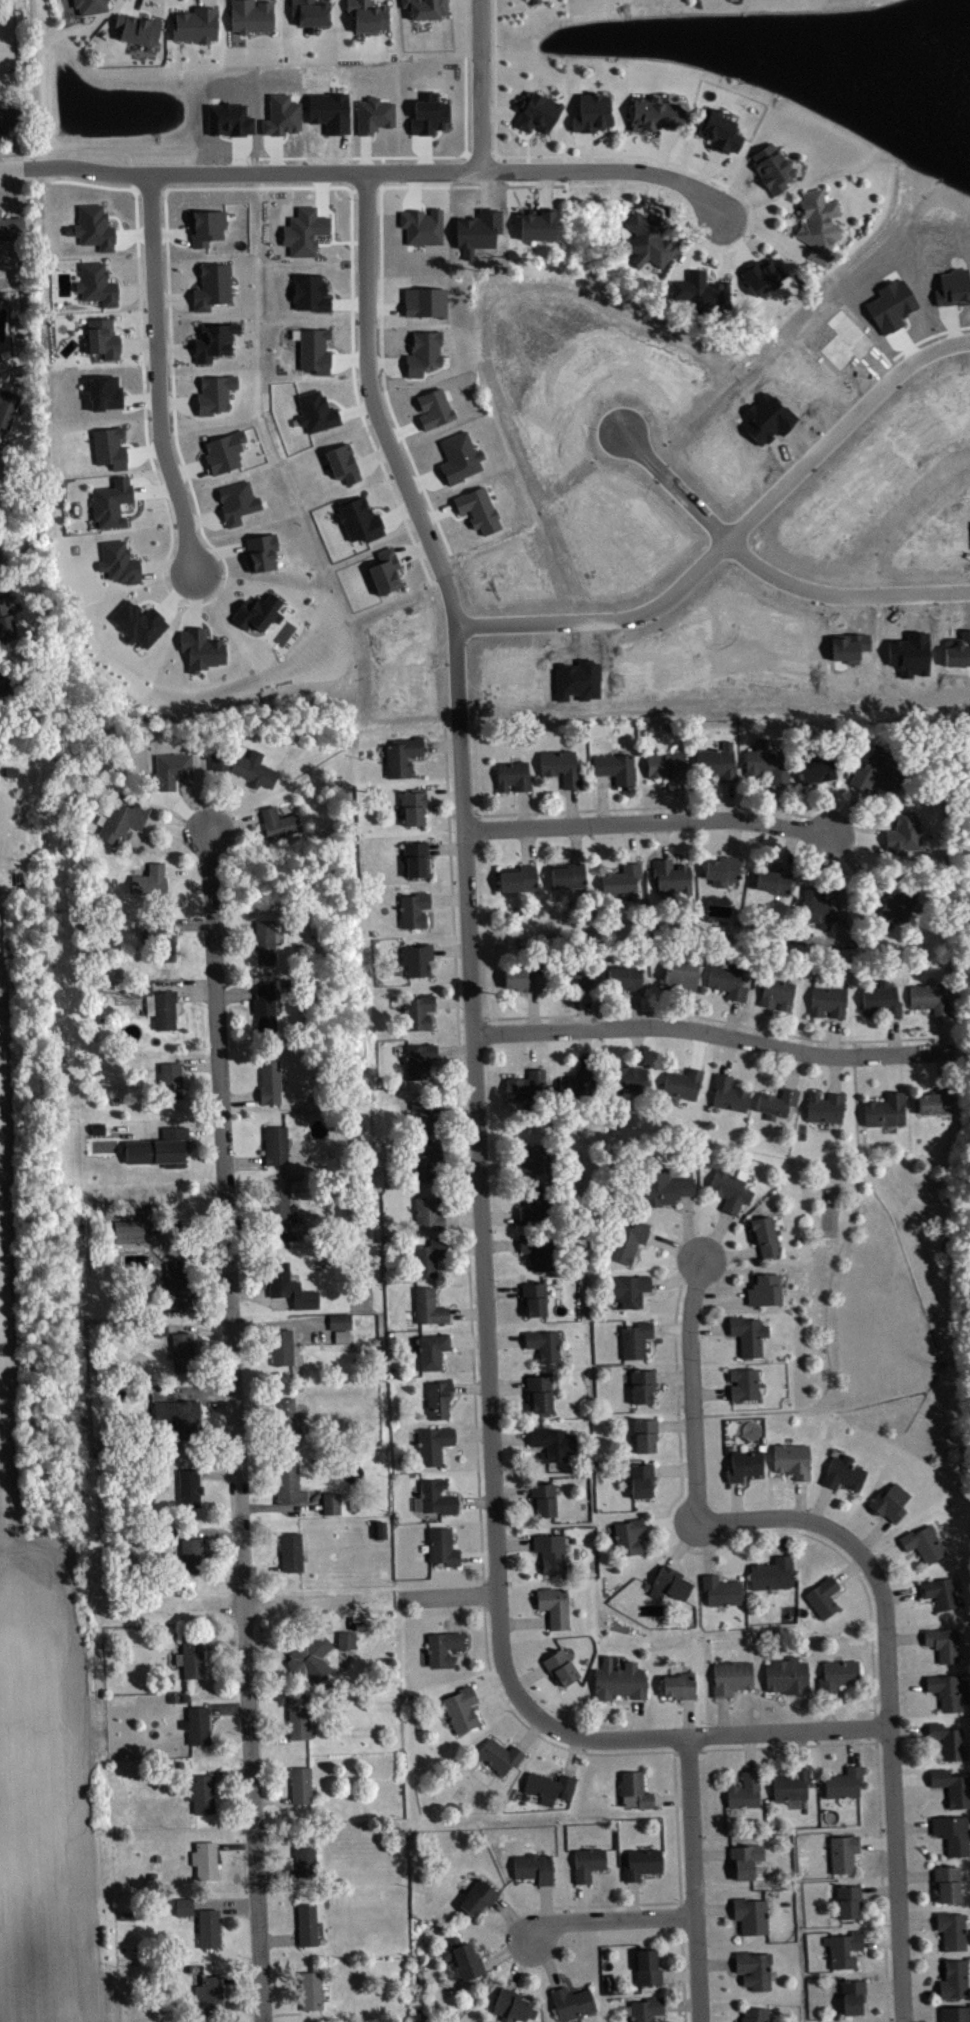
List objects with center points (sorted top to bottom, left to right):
building: (533, 0)
road: (255, 2)
road: (375, 2)
building: (538, 2)
road: (204, 3)
building: (89, 5)
road: (192, 5)
road: (134, 7)
building: (425, 7)
road: (144, 9)
building: (73, 10)
building: (309, 11)
building: (251, 15)
building: (368, 15)
building: (195, 23)
building: (137, 27)
road: (465, 27)
road: (481, 84)
building: (536, 110)
road: (499, 111)
building: (592, 111)
building: (654, 113)
building: (334, 114)
building: (423, 116)
building: (11, 118)
building: (286, 118)
building: (717, 129)
road: (517, 130)
road: (595, 134)
road: (650, 138)
road: (703, 146)
road: (587, 149)
road: (663, 149)
road: (13, 152)
road: (528, 152)
road: (649, 156)
road: (11, 167)
building: (773, 167)
road: (707, 169)
road: (380, 170)
road: (752, 177)
road: (535, 185)
road: (343, 186)
road: (546, 188)
road: (415, 189)
road: (10, 191)
road: (651, 194)
road: (743, 200)
road: (423, 204)
road: (537, 204)
road: (662, 209)
road: (685, 215)
road: (381, 223)
building: (538, 223)
building: (818, 224)
road: (791, 225)
building: (423, 226)
building: (12, 227)
road: (764, 229)
building: (98, 230)
building: (210, 230)
building: (308, 234)
building: (648, 239)
road: (694, 244)
road: (718, 244)
road: (705, 264)
road: (119, 277)
building: (767, 279)
building: (96, 283)
building: (212, 285)
road: (135, 290)
building: (701, 291)
building: (305, 293)
road: (172, 297)
building: (425, 299)
road: (399, 301)
road: (345, 302)
road: (385, 308)
road: (140, 309)
road: (122, 331)
road: (929, 335)
building: (102, 337)
building: (214, 340)
road: (137, 342)
building: (0, 353)
building: (318, 353)
road: (157, 371)
building: (218, 396)
building: (8, 408)
building: (432, 409)
building: (314, 414)
road: (175, 423)
road: (405, 442)
building: (107, 444)
road: (393, 454)
building: (228, 455)
building: (456, 460)
road: (153, 489)
building: (235, 501)
building: (111, 502)
road: (135, 507)
road: (381, 508)
road: (397, 511)
building: (477, 511)
road: (438, 513)
building: (359, 517)
road: (408, 529)
road: (734, 533)
building: (260, 551)
road: (139, 554)
building: (119, 562)
road: (166, 564)
road: (163, 566)
building: (382, 571)
road: (770, 573)
road: (215, 585)
road: (177, 591)
road: (242, 595)
road: (195, 596)
road: (150, 599)
building: (258, 610)
building: (6, 617)
building: (138, 622)
road: (208, 623)
building: (201, 647)
building: (5, 685)
road: (441, 743)
building: (401, 753)
building: (219, 759)
building: (772, 764)
building: (721, 765)
building: (224, 766)
building: (253, 767)
building: (670, 769)
building: (564, 770)
building: (620, 770)
building: (819, 772)
building: (880, 777)
building: (516, 779)
building: (120, 795)
road: (444, 795)
road: (217, 800)
building: (413, 803)
road: (462, 812)
road: (496, 812)
building: (121, 819)
road: (647, 820)
building: (278, 821)
road: (235, 824)
road: (176, 828)
building: (907, 836)
road: (446, 846)
building: (416, 856)
road: (187, 869)
building: (726, 874)
building: (572, 878)
building: (150, 879)
building: (674, 880)
building: (521, 882)
building: (626, 883)
building: (777, 884)
road: (452, 887)
road: (448, 897)
building: (901, 906)
building: (413, 907)
road: (193, 923)
road: (234, 927)
building: (161, 937)
building: (264, 941)
road: (451, 949)
building: (416, 956)
building: (684, 977)
building: (625, 979)
building: (525, 982)
building: (582, 982)
road: (183, 984)
building: (731, 984)
road: (236, 994)
building: (780, 997)
road: (453, 1000)
building: (932, 1001)
building: (885, 1002)
building: (158, 1003)
building: (832, 1005)
building: (265, 1006)
building: (418, 1010)
road: (714, 1032)
building: (423, 1063)
building: (170, 1079)
building: (270, 1081)
building: (633, 1082)
building: (581, 1085)
building: (686, 1087)
building: (529, 1089)
building: (732, 1097)
building: (780, 1106)
building: (939, 1106)
building: (828, 1110)
building: (889, 1113)
building: (426, 1120)
building: (275, 1143)
building: (159, 1147)
building: (537, 1163)
building: (428, 1164)
building: (669, 1191)
building: (733, 1192)
building: (539, 1209)
building: (281, 1210)
building: (432, 1217)
road: (481, 1218)
building: (132, 1234)
building: (768, 1239)
building: (631, 1244)
building: (542, 1253)
building: (432, 1260)
road: (829, 1282)
building: (176, 1285)
building: (289, 1285)
building: (633, 1293)
building: (768, 1293)
building: (538, 1303)
building: (432, 1310)
building: (344, 1324)
building: (752, 1338)
building: (345, 1339)
building: (639, 1343)
building: (281, 1345)
building: (547, 1348)
building: (182, 1350)
building: (436, 1354)
building: (747, 1387)
building: (646, 1390)
building: (544, 1398)
building: (442, 1402)
road: (685, 1404)
building: (285, 1415)
building: (181, 1416)
road: (235, 1426)
building: (648, 1439)
building: (556, 1446)
building: (437, 1448)
building: (795, 1463)
building: (748, 1468)
building: (847, 1476)
building: (644, 1484)
building: (288, 1485)
building: (188, 1486)
building: (441, 1500)
building: (331, 1501)
building: (547, 1503)
building: (893, 1505)
building: (379, 1528)
building: (633, 1540)
building: (927, 1547)
building: (291, 1550)
building: (446, 1550)
building: (193, 1555)
building: (555, 1556)
road: (848, 1562)
road: (872, 1568)
building: (775, 1577)
building: (674, 1587)
road: (450, 1594)
building: (724, 1594)
building: (943, 1596)
building: (827, 1600)
road: (295, 1602)
building: (558, 1609)
building: (359, 1625)
building: (345, 1638)
building: (947, 1647)
building: (447, 1651)
building: (308, 1652)
building: (191, 1655)
building: (565, 1671)
building: (842, 1677)
building: (790, 1679)
building: (735, 1680)
building: (622, 1683)
building: (682, 1689)
building: (951, 1694)
building: (183, 1696)
building: (173, 1697)
building: (464, 1712)
crop: (41, 1715)
building: (298, 1715)
building: (196, 1724)
road: (699, 1734)
building: (951, 1744)
building: (504, 1759)
building: (301, 1784)
building: (848, 1786)
building: (794, 1788)
building: (554, 1789)
building: (634, 1789)
road: (654, 1790)
building: (954, 1790)
building: (201, 1792)
building: (747, 1793)
road: (671, 1798)
building: (955, 1837)
road: (710, 1852)
building: (305, 1856)
building: (847, 1856)
building: (205, 1859)
road: (725, 1859)
building: (742, 1860)
building: (588, 1862)
building: (642, 1862)
building: (534, 1866)
building: (153, 1875)
road: (693, 1878)
road: (641, 1881)
road: (594, 1882)
road: (680, 1885)
road: (535, 1886)
building: (951, 1887)
building: (478, 1895)
road: (632, 1897)
road: (583, 1900)
building: (167, 1901)
road: (613, 1903)
building: (183, 1905)
building: (852, 1905)
road: (545, 1906)
road: (714, 1907)
road: (493, 1909)
building: (129, 1914)
building: (751, 1914)
road: (609, 1916)
road: (511, 1918)
building: (307, 1923)
building: (208, 1926)
building: (956, 1934)
road: (506, 1950)
building: (848, 1952)
road: (485, 1953)
building: (464, 1957)
road: (547, 1959)
road: (715, 1961)
road: (518, 1962)
road: (665, 1965)
building: (647, 1966)
building: (754, 1968)
road: (679, 1973)
road: (732, 1974)
road: (563, 1982)
building: (957, 1983)
road: (517, 1984)
building: (310, 1989)
building: (209, 1993)
building: (857, 2000)
building: (571, 2001)
road: (680, 2002)
building: (512, 2005)
building: (646, 2008)
road: (664, 2014)
building: (755, 2014)
building: (957, 2015)

